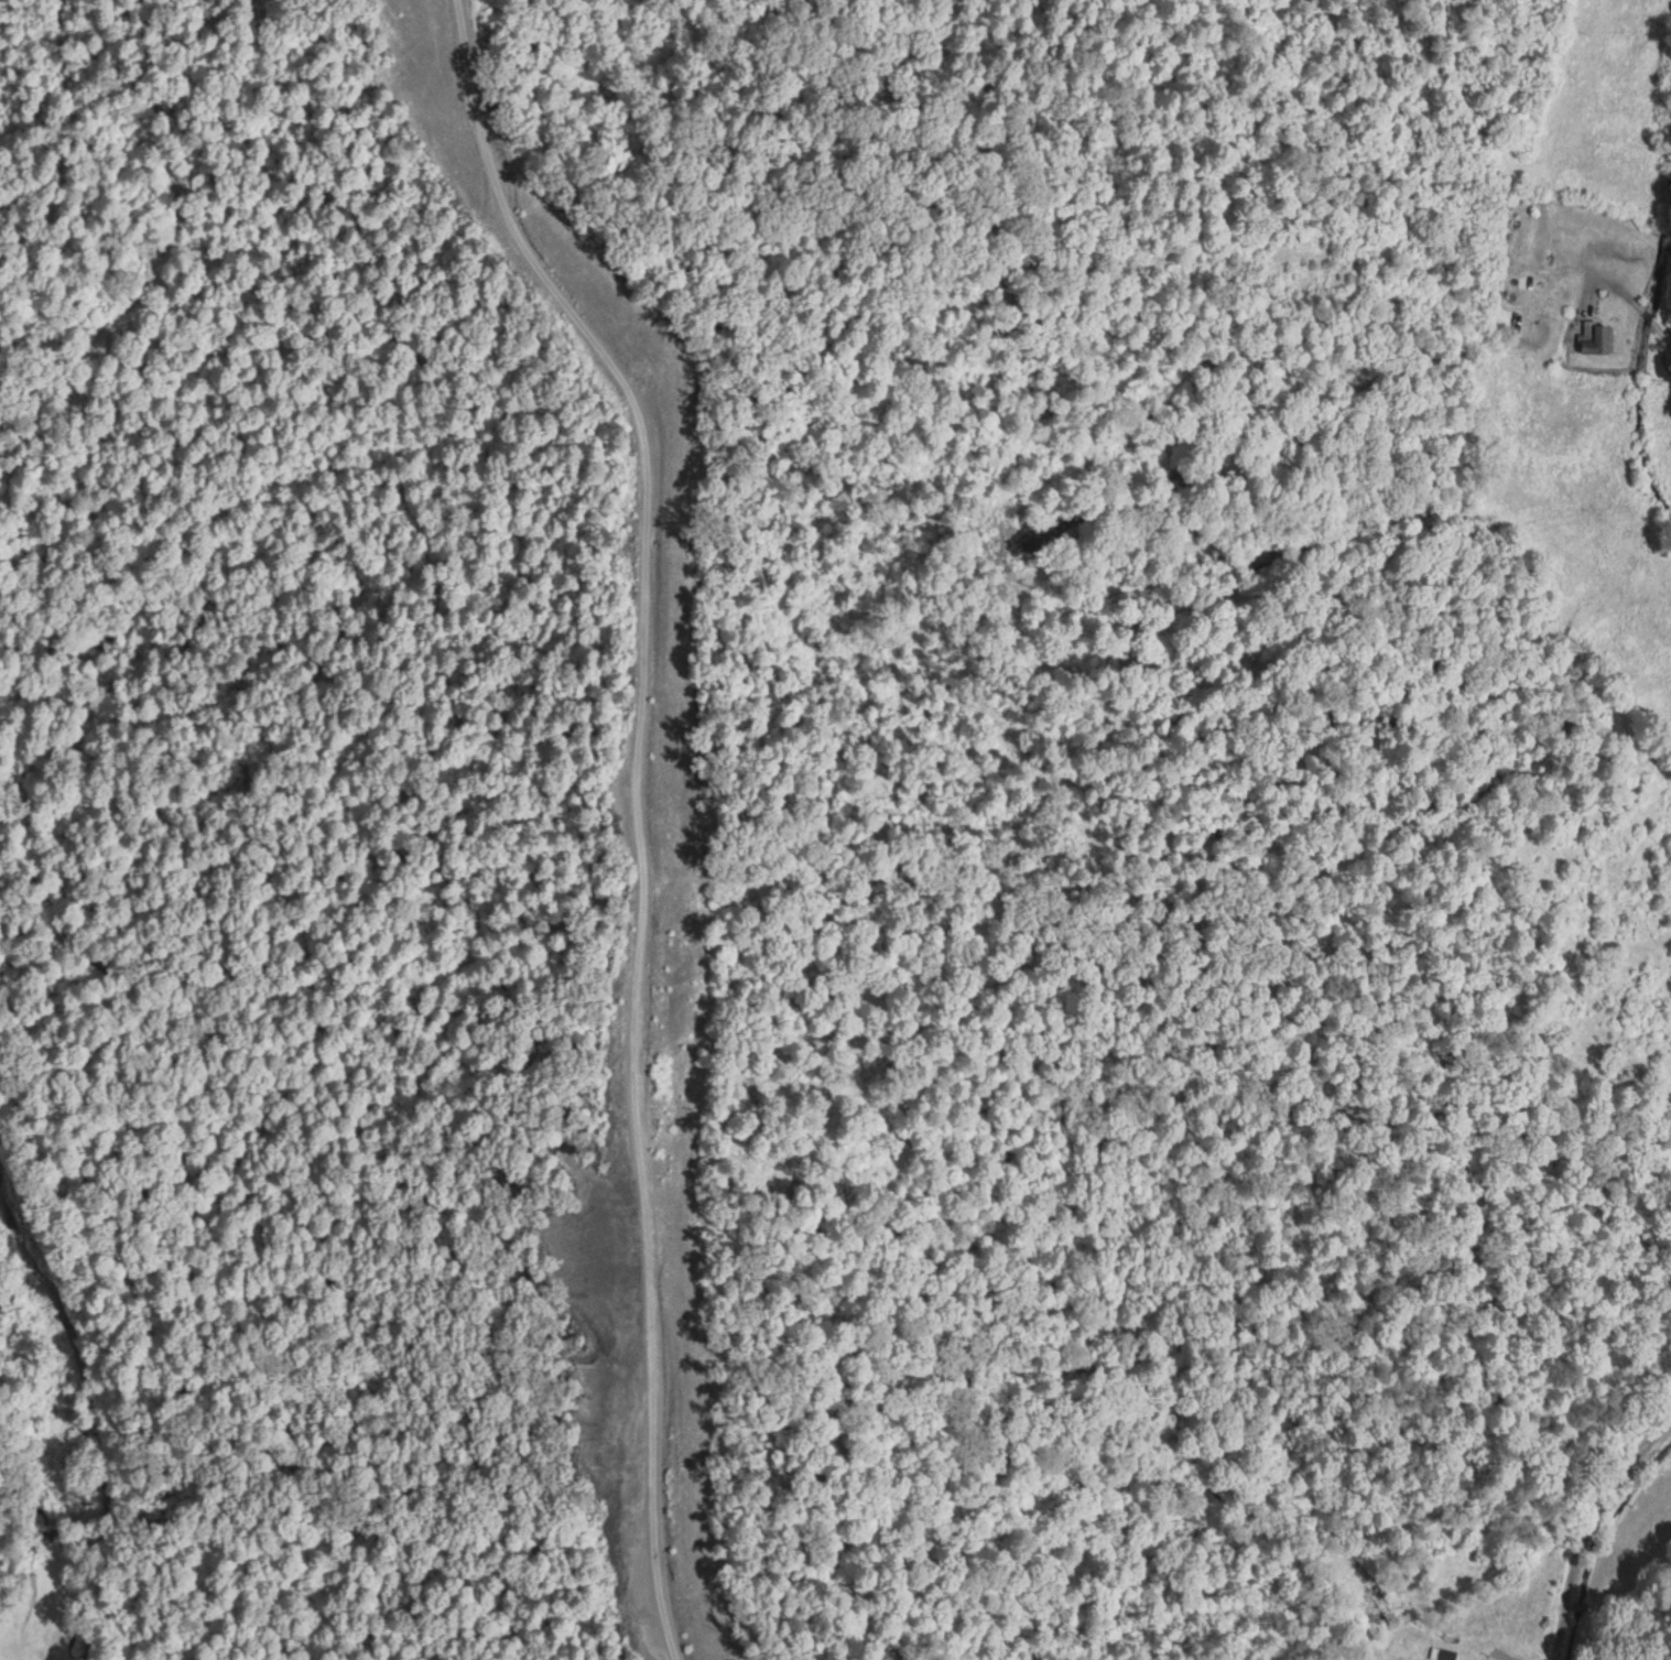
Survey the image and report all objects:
building: (1596, 336)
road: (1586, 1520)

